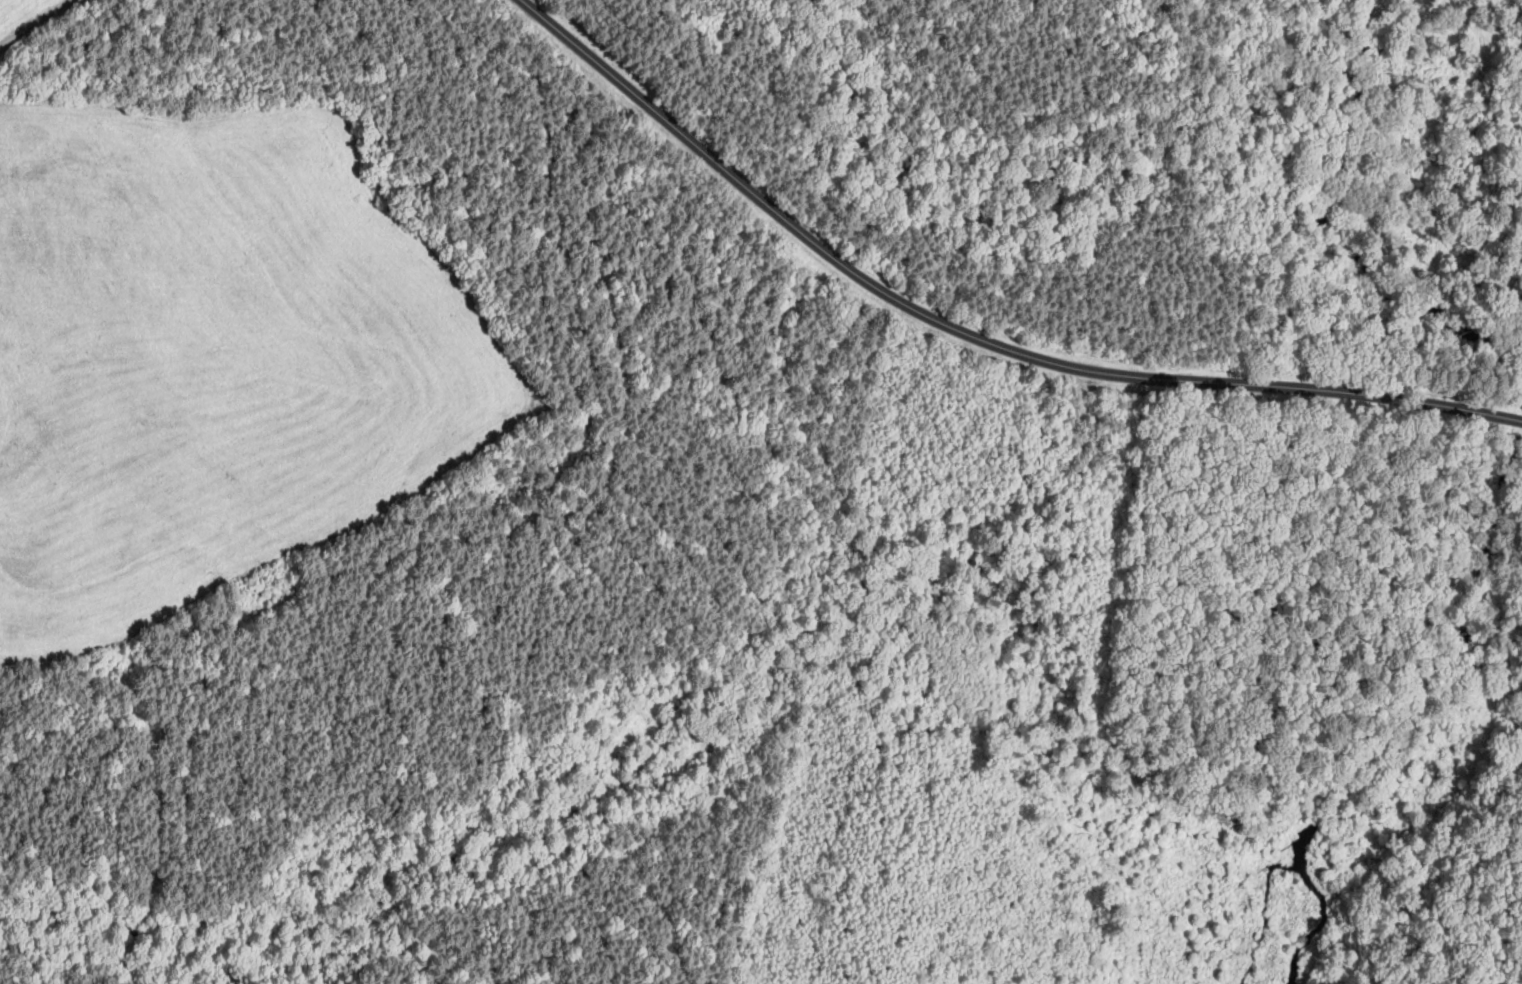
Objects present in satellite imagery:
road: (39, 23)
road: (969, 334)
road: (144, 422)

